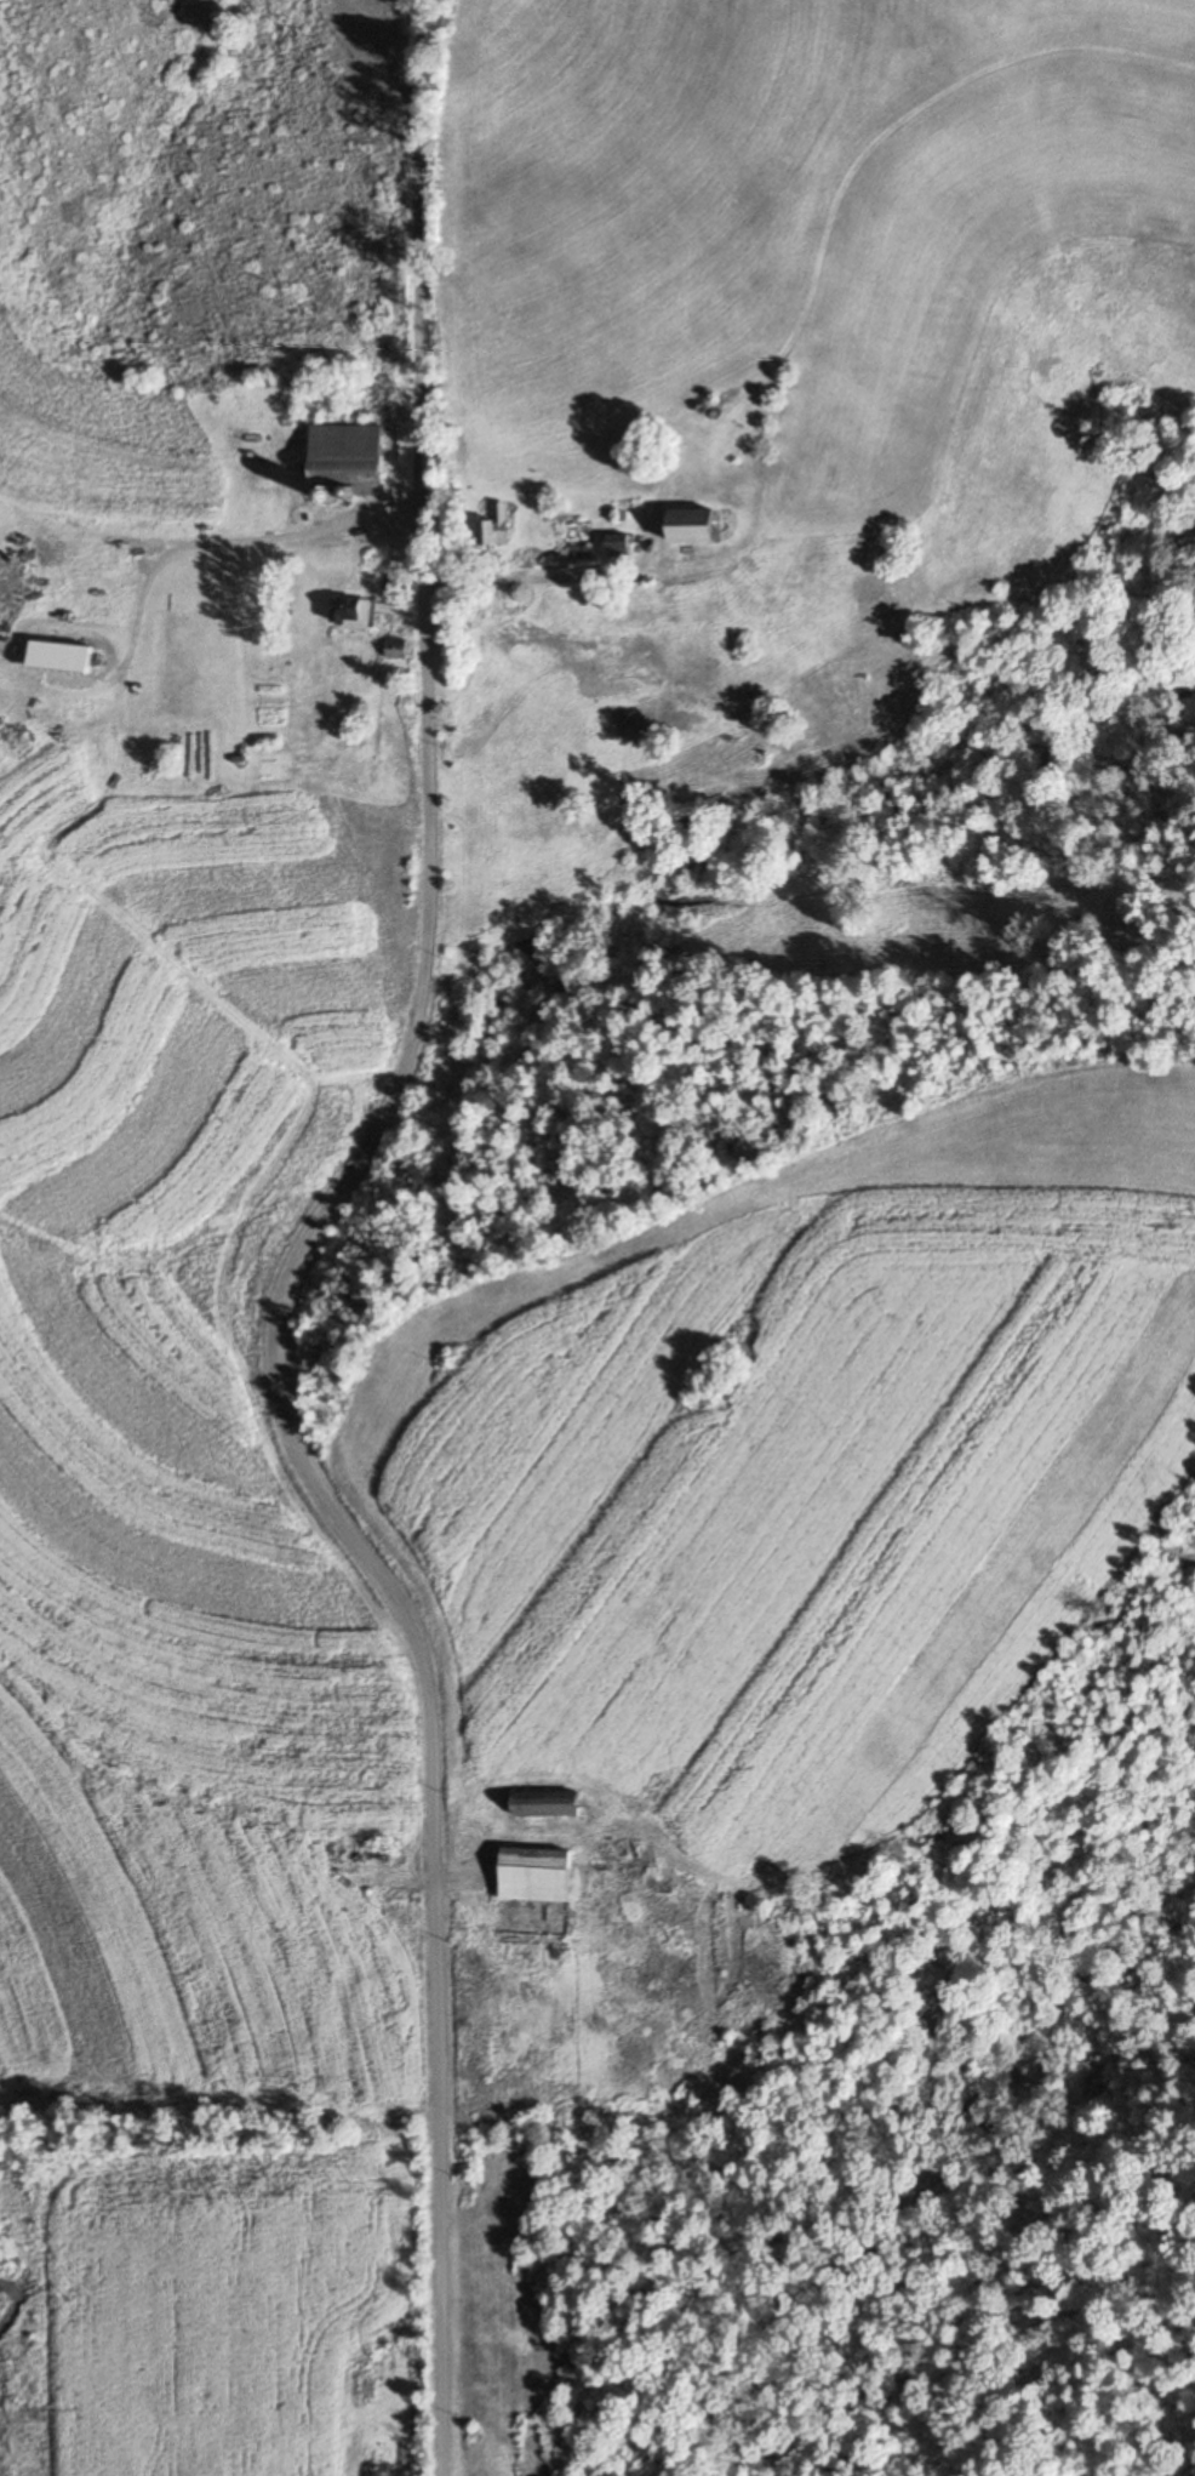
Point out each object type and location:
building: (347, 460)
building: (692, 525)
building: (496, 526)
building: (619, 543)
road: (555, 578)
building: (351, 611)
building: (396, 647)
road: (311, 1246)
building: (548, 1804)
building: (536, 1876)
building: (408, 2395)
building: (341, 2409)
building: (341, 2471)

